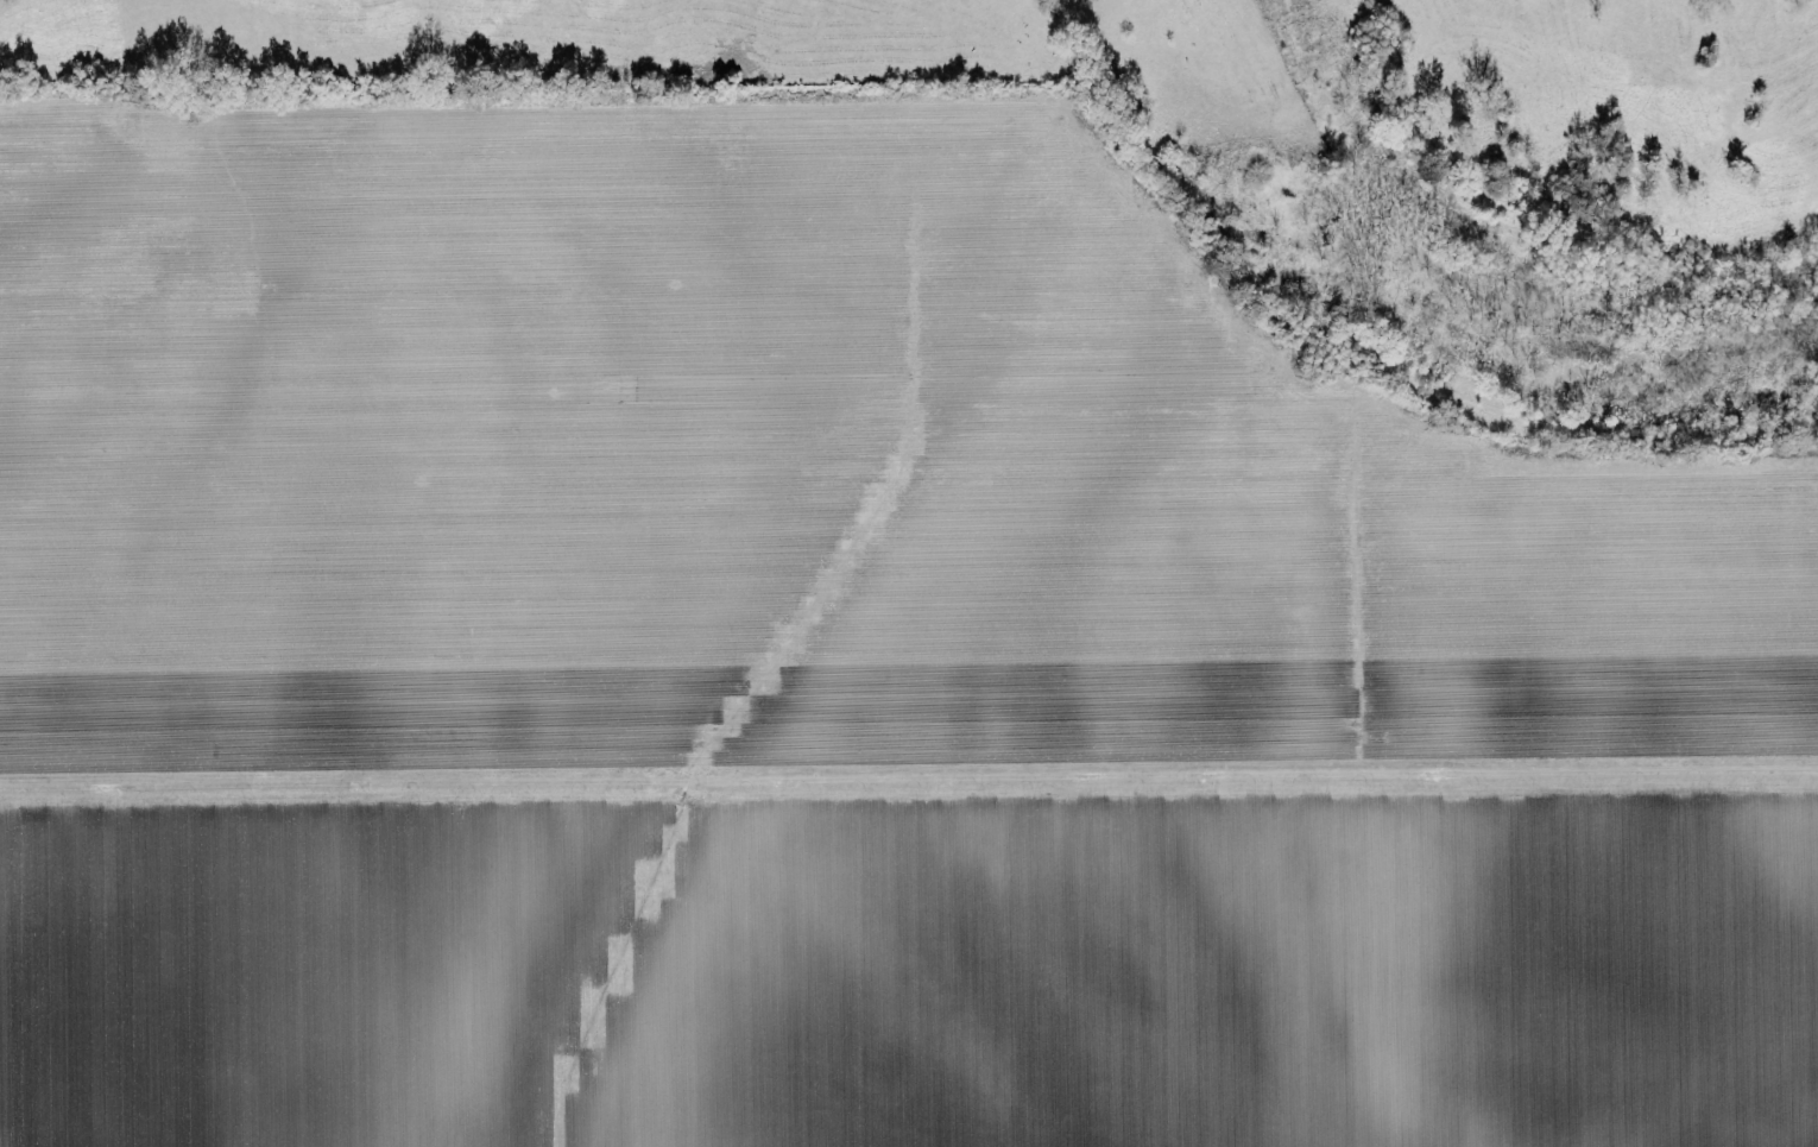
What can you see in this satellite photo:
road: (909, 777)

